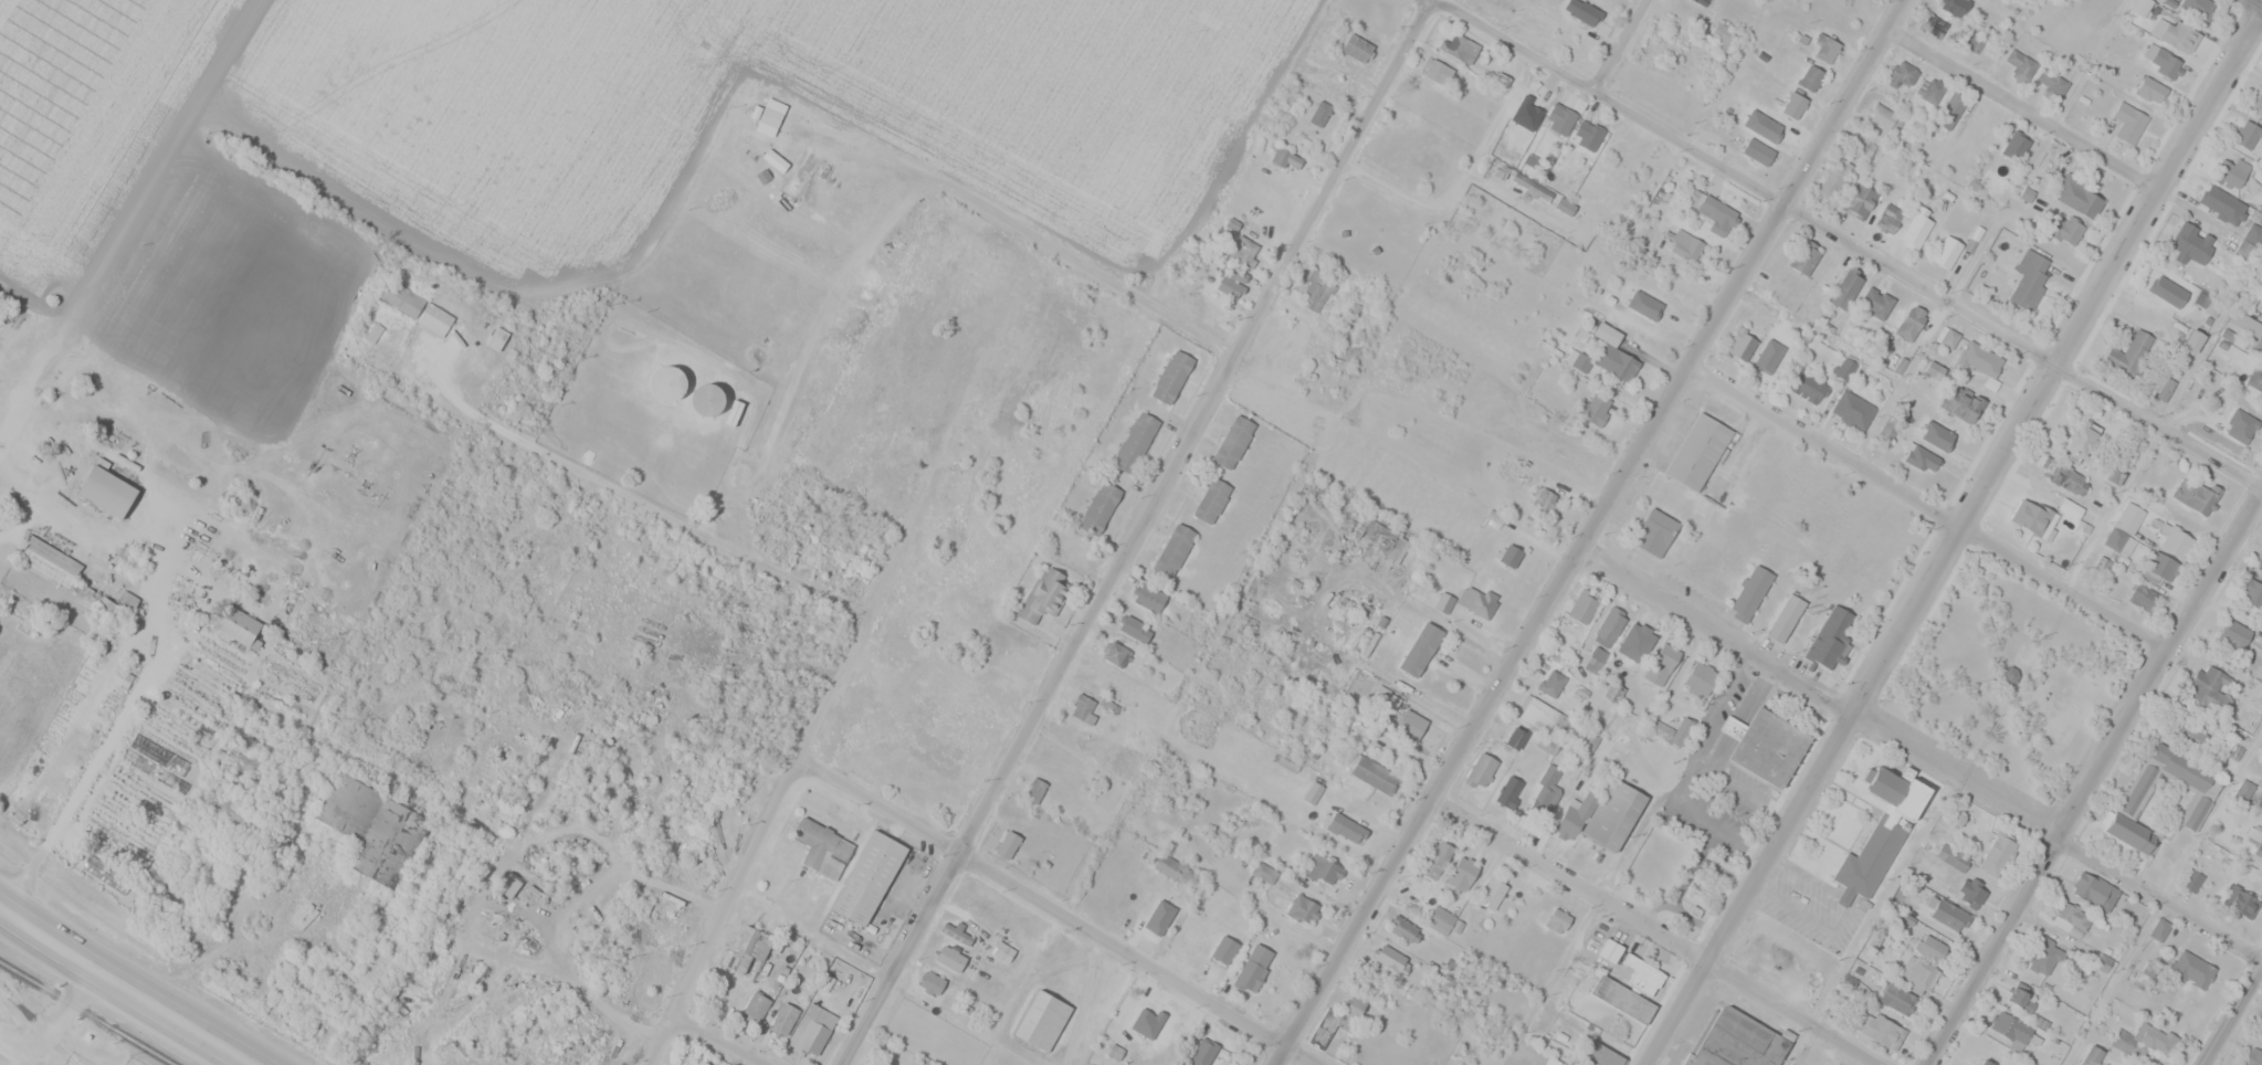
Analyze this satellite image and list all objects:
building: (1693, 0)
road: (2258, 1)
building: (1954, 6)
building: (2198, 8)
building: (1584, 11)
building: (1933, 24)
building: (1722, 32)
building: (2179, 32)
building: (1974, 41)
road: (1622, 44)
building: (1357, 46)
building: (1460, 46)
building: (1826, 48)
building: (1318, 54)
building: (2161, 59)
building: (2020, 61)
building: (1438, 71)
building: (1903, 73)
building: (1810, 77)
building: (2051, 82)
building: (2150, 88)
building: (1932, 91)
building: (2256, 103)
building: (1793, 105)
road: (2020, 108)
building: (1949, 112)
building: (1319, 113)
building: (1523, 113)
building: (1882, 115)
building: (1559, 118)
building: (2129, 122)
building: (2248, 134)
building: (1588, 135)
building: (2016, 145)
building: (1758, 150)
building: (1286, 158)
building: (2232, 170)
building: (1837, 176)
building: (1532, 187)
building: (2079, 197)
building: (1861, 198)
building: (2222, 203)
building: (1565, 205)
building: (1718, 213)
building: (1888, 217)
building: (1917, 228)
building: (2066, 228)
building: (2250, 240)
building: (2192, 242)
road: (1847, 243)
building: (1686, 244)
building: (1244, 251)
building: (1947, 251)
building: (1806, 255)
building: (2029, 278)
building: (1231, 281)
building: (1850, 282)
building: (2166, 288)
building: (1315, 292)
building: (1876, 300)
building: (403, 302)
building: (1644, 309)
building: (1214, 314)
building: (1911, 321)
building: (2248, 326)
building: (1947, 337)
building: (2193, 340)
building: (1742, 344)
building: (1347, 349)
building: (2129, 352)
building: (1980, 359)
building: (1768, 360)
building: (1616, 361)
building: (1844, 367)
building: (1171, 376)
building: (2255, 379)
building: (667, 382)
building: (1807, 387)
building: (2165, 388)
building: (707, 399)
building: (2189, 399)
building: (1961, 402)
building: (1597, 409)
building: (1853, 409)
building: (2235, 421)
building: (1938, 435)
building: (2082, 437)
building: (1233, 441)
building: (1135, 442)
building: (1697, 455)
building: (1922, 458)
building: (2063, 475)
building: (2195, 494)
building: (109, 496)
building: (1212, 499)
building: (1545, 500)
building: (1100, 507)
road: (1928, 509)
building: (2033, 516)
building: (2124, 528)
building: (1655, 531)
road: (1137, 532)
road: (1593, 535)
road: (1949, 535)
building: (1382, 539)
building: (2177, 540)
building: (1174, 549)
building: (1077, 550)
building: (1509, 555)
building: (48, 560)
building: (2260, 565)
building: (1749, 593)
building: (2252, 593)
building: (1044, 594)
building: (1149, 597)
building: (2142, 597)
building: (1443, 602)
building: (1482, 602)
building: (1585, 603)
building: (232, 621)
building: (1784, 621)
building: (1609, 624)
building: (1135, 629)
building: (2233, 634)
road: (1463, 637)
building: (1829, 640)
building: (1635, 642)
building: (1420, 651)
building: (1114, 653)
building: (1595, 660)
building: (1663, 662)
building: (1700, 678)
park: (2008, 678)
building: (1551, 683)
building: (1614, 689)
building: (2209, 689)
building: (1082, 708)
building: (1537, 713)
building: (1411, 724)
building: (1681, 730)
building: (2187, 732)
building: (1516, 738)
building: (1589, 740)
building: (1769, 751)
road: (1922, 751)
building: (1481, 770)
road: (793, 773)
building: (1372, 773)
road: (2087, 776)
building: (1035, 790)
building: (1311, 791)
building: (1508, 791)
building: (1546, 792)
building: (2198, 804)
building: (348, 808)
building: (235, 813)
building: (1602, 815)
building: (1345, 826)
building: (1881, 832)
building: (1008, 844)
building: (822, 847)
building: (2259, 847)
building: (1997, 853)
building: (200, 856)
building: (1435, 858)
building: (1167, 865)
building: (1324, 869)
building: (1263, 872)
building: (1461, 875)
building: (2192, 878)
building: (869, 883)
building: (2094, 889)
building: (1493, 890)
building: (1971, 892)
building: (2241, 900)
building: (1303, 909)
building: (2137, 909)
road: (1059, 910)
building: (1948, 914)
building: (1160, 915)
building: (2071, 915)
building: (1440, 919)
building: (1556, 919)
building: (1402, 928)
building: (2159, 928)
road: (1654, 929)
building: (957, 934)
building: (1930, 947)
building: (748, 950)
building: (1610, 950)
building: (1003, 951)
building: (1771, 956)
building: (950, 957)
building: (2044, 957)
building: (1391, 958)
building: (2191, 969)
building: (1918, 972)
building: (1250, 973)
building: (1643, 974)
building: (932, 982)
road: (128, 988)
building: (2023, 998)
building: (1623, 999)
building: (1897, 999)
building: (1357, 1004)
building: (756, 1005)
railway: (88, 1012)
road: (2232, 1015)
road: (69, 1016)
building: (1148, 1017)
building: (783, 1019)
building: (1044, 1025)
building: (1324, 1027)
building: (1877, 1029)
building: (2010, 1029)
building: (812, 1030)
building: (2144, 1041)
road: (714, 1044)
building: (1738, 1044)
building: (1208, 1046)
building: (1601, 1055)
building: (2091, 1055)
building: (2253, 1057)
building: (1550, 1061)
building: (1987, 1062)
building: (892, 1064)

